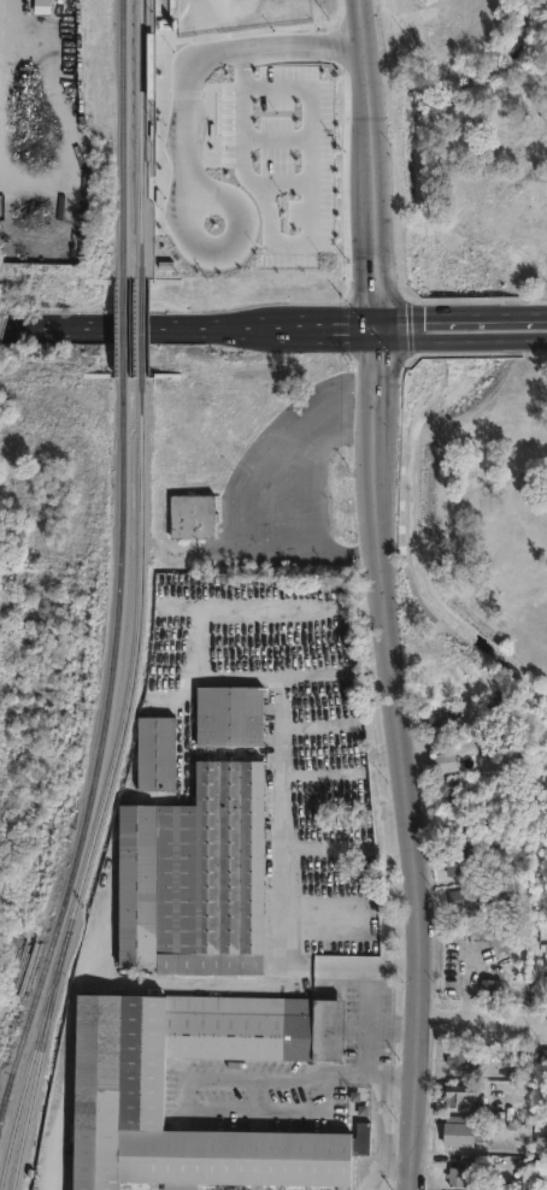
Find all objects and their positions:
building: (42, 6)
road: (204, 28)
road: (331, 31)
road: (198, 55)
parking lot: (258, 101)
railway: (123, 140)
railway: (137, 140)
road: (377, 154)
railway: (151, 160)
building: (269, 238)
road: (184, 246)
road: (382, 281)
road: (476, 289)
road: (284, 294)
traffic signals: (380, 310)
road: (463, 310)
road: (339, 317)
road: (148, 320)
road: (380, 324)
railway: (139, 328)
railway: (122, 329)
road: (339, 331)
traffic signals: (380, 338)
road: (463, 338)
building: (472, 500)
park: (493, 513)
building: (523, 518)
building: (175, 519)
building: (482, 546)
railway: (131, 656)
building: (228, 719)
building: (431, 721)
railway: (105, 731)
building: (154, 755)
road: (284, 756)
road: (404, 764)
building: (435, 764)
building: (439, 788)
building: (457, 862)
building: (194, 878)
building: (460, 900)
building: (488, 986)
road: (482, 1024)
railway: (31, 1056)
building: (459, 1059)
building: (541, 1059)
railway: (36, 1060)
road: (381, 1070)
building: (119, 1094)
road: (184, 1096)
building: (463, 1096)
railway: (6, 1097)
railway: (6, 1104)
building: (360, 1115)
building: (461, 1130)
building: (541, 1144)
building: (463, 1174)

